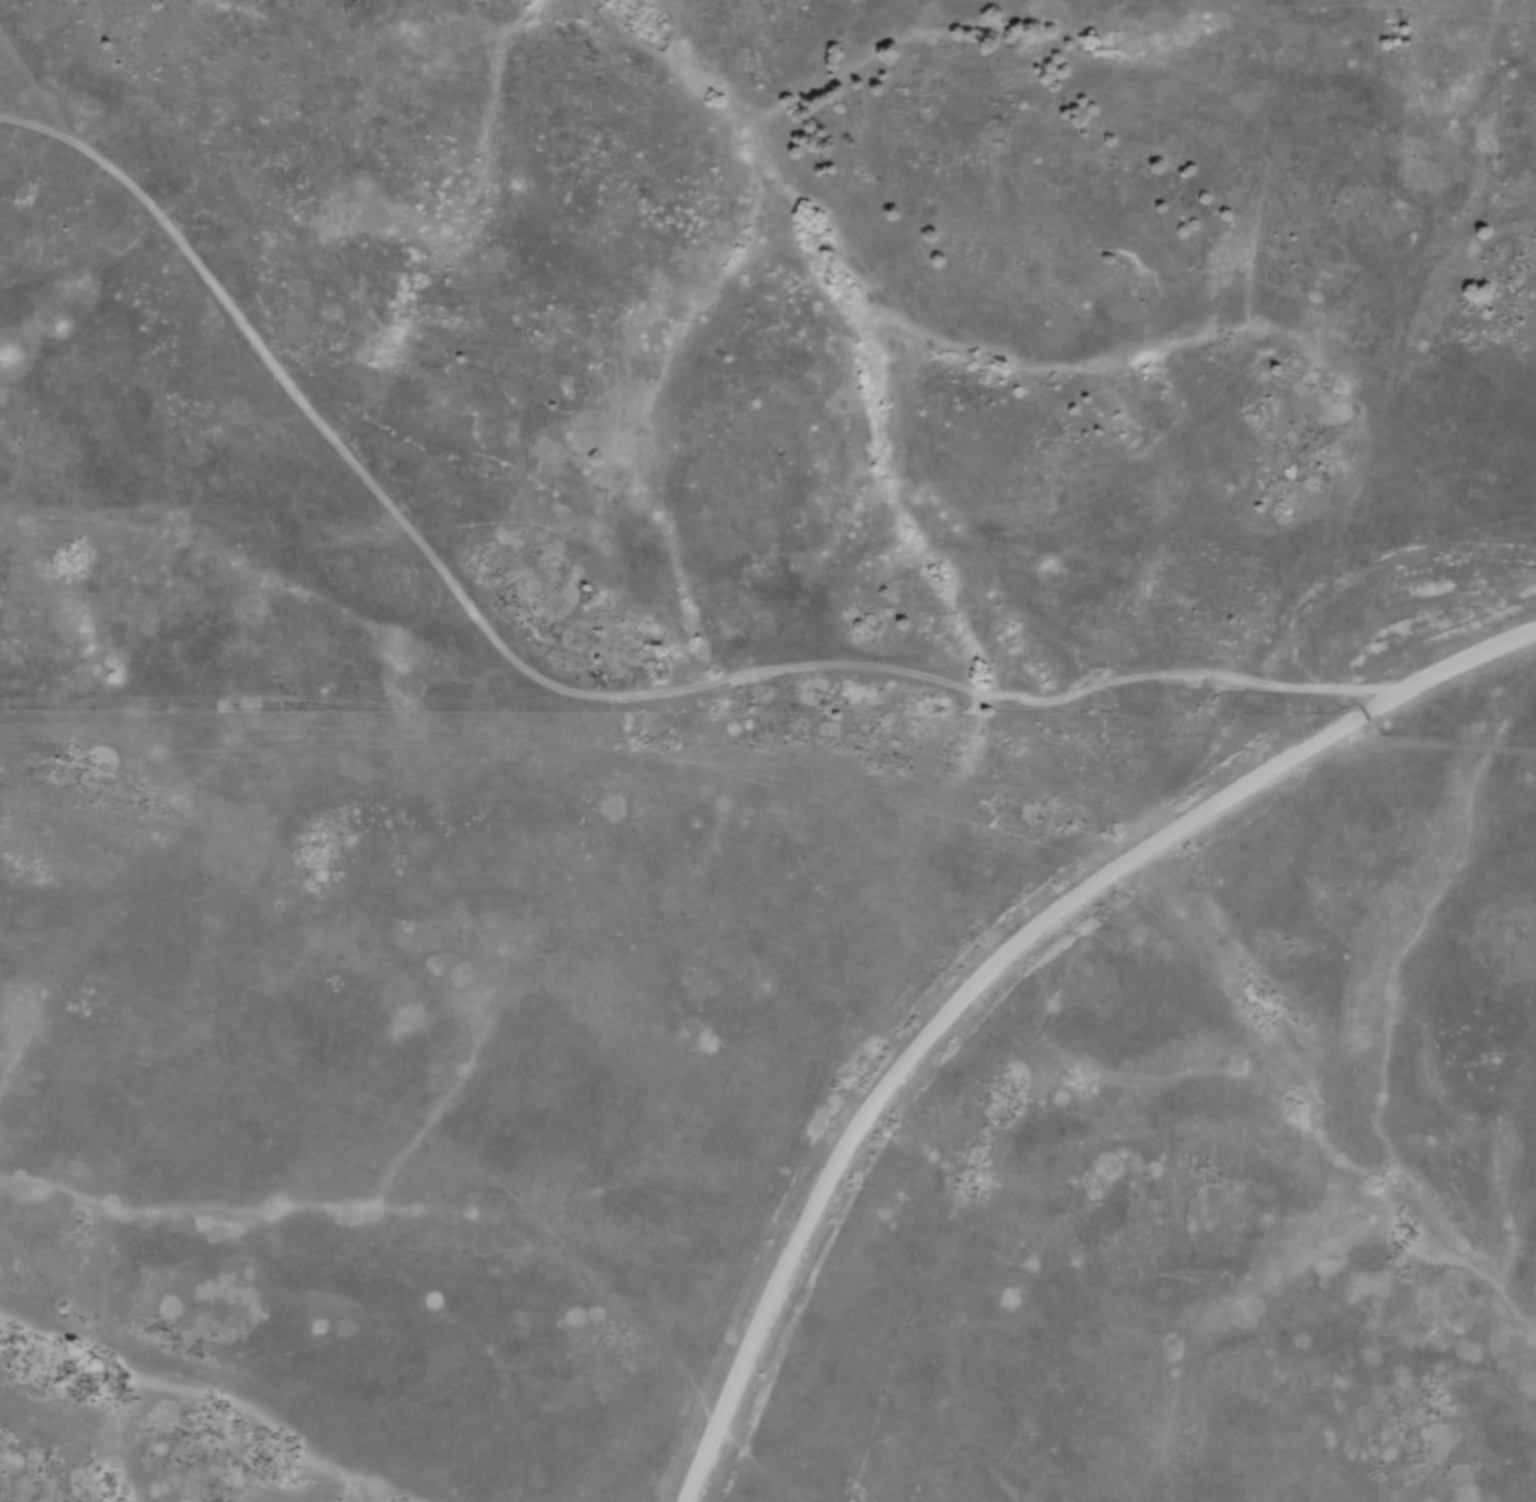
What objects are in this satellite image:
road: (39, 131)
road: (1370, 563)
road: (552, 686)
road: (1435, 742)
road: (1002, 963)

